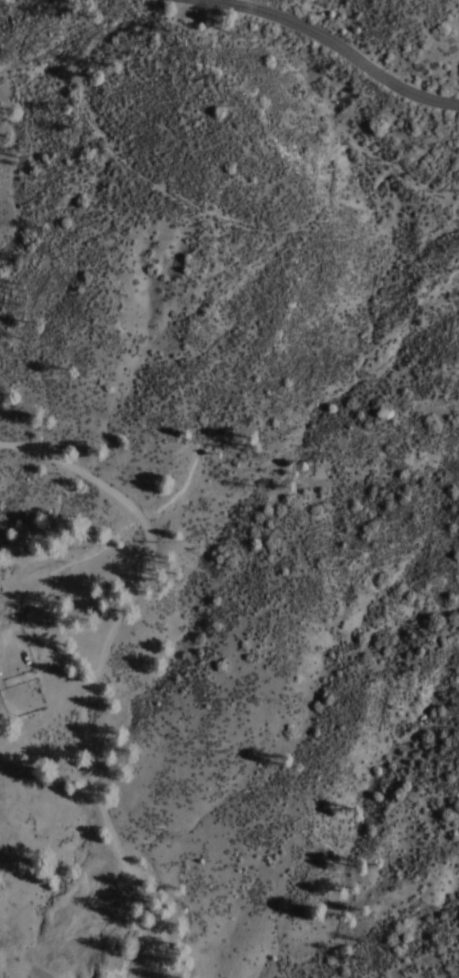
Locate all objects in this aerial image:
road: (341, 48)
road: (107, 669)

